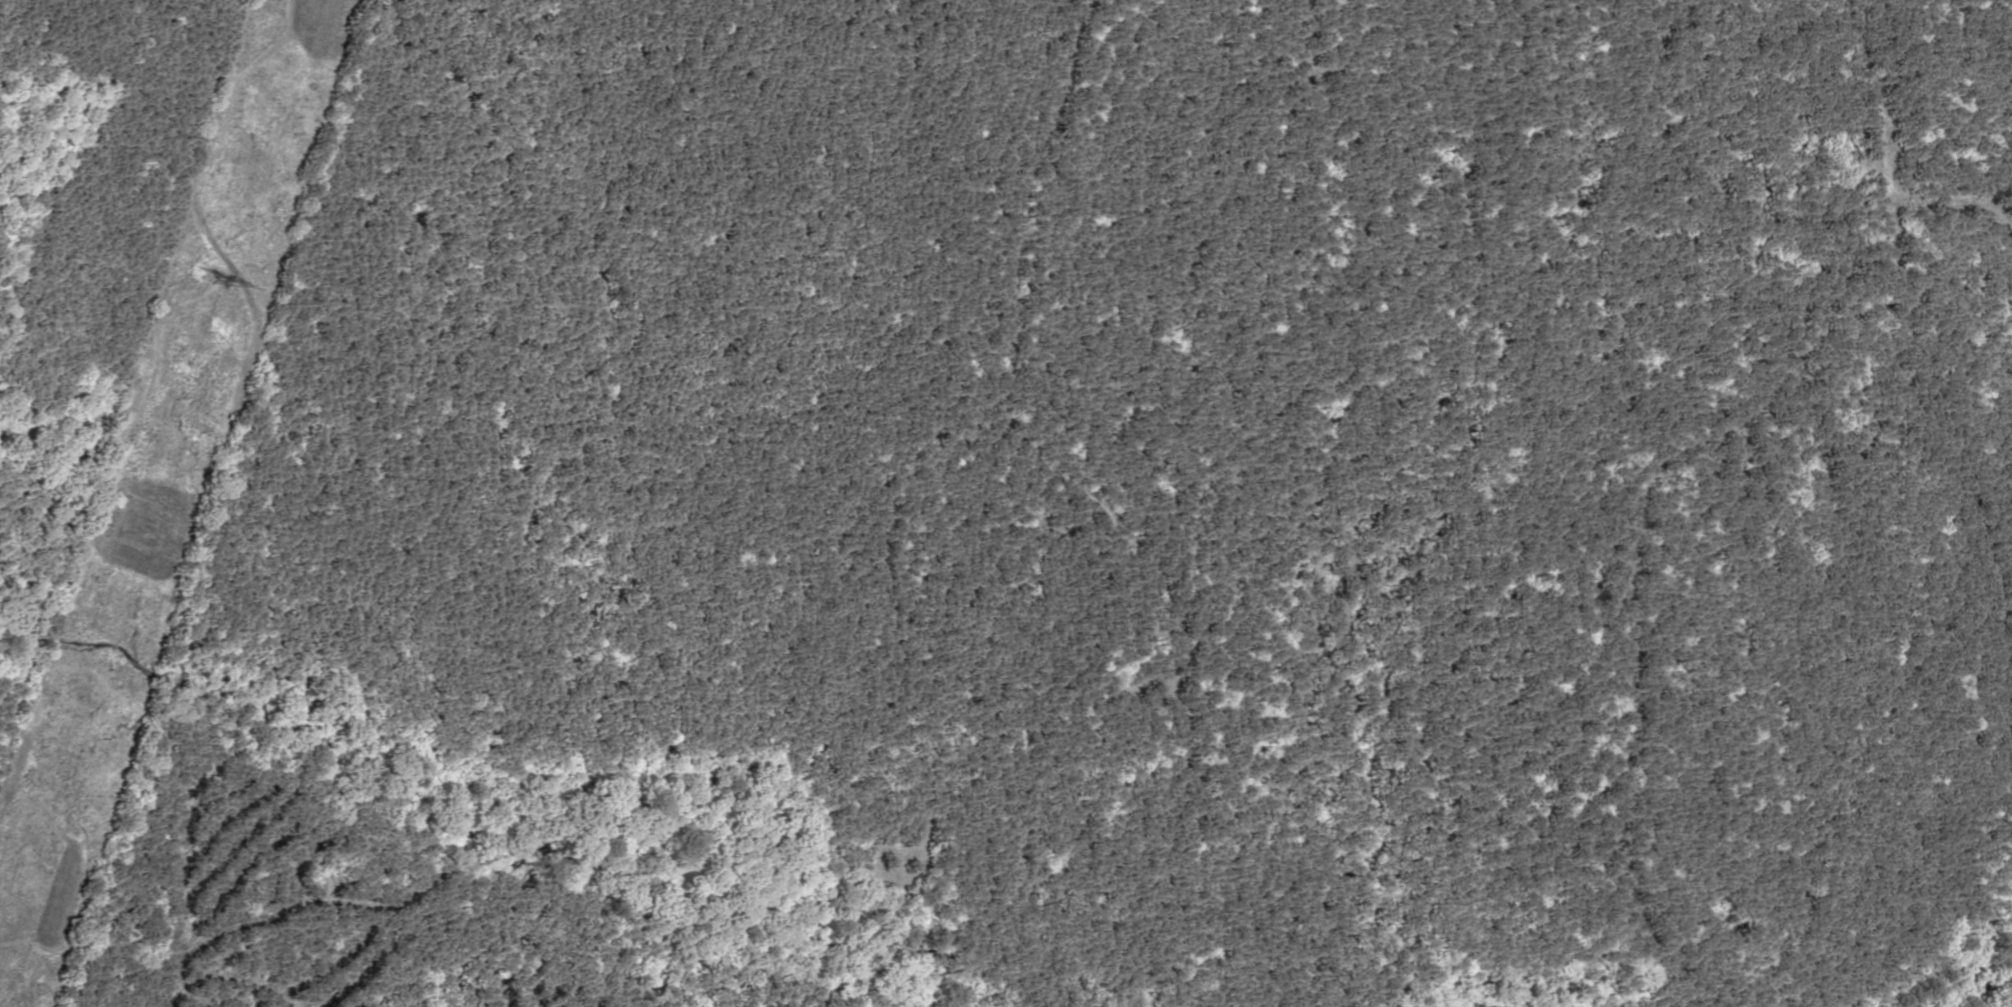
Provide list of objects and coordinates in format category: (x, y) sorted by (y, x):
power tower: (212, 272)

